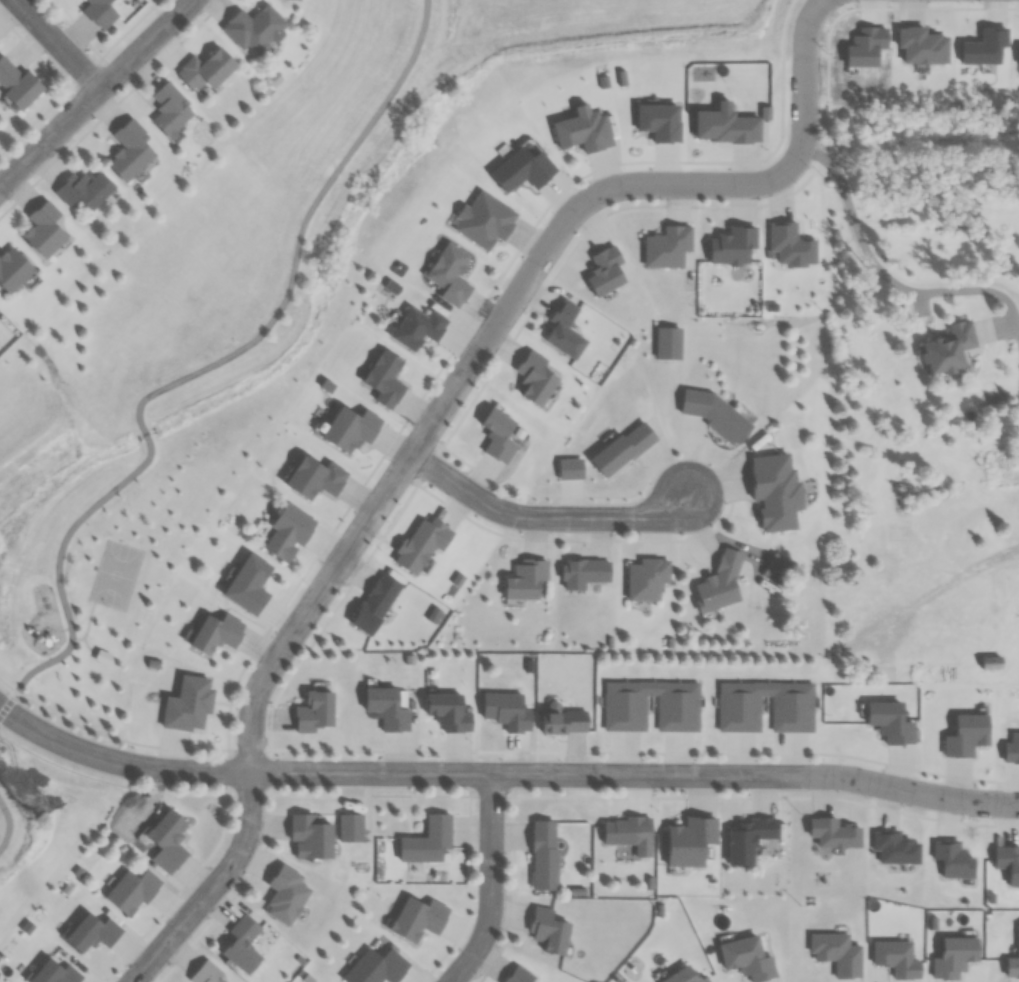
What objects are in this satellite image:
building: (99, 12)
building: (253, 28)
road: (57, 44)
building: (205, 69)
building: (17, 83)
road: (95, 92)
building: (169, 109)
building: (128, 150)
road: (685, 175)
building: (83, 188)
building: (42, 229)
building: (12, 268)
road: (885, 283)
building: (667, 342)
building: (948, 346)
road: (199, 370)
building: (384, 378)
building: (715, 413)
building: (349, 429)
building: (497, 435)
building: (622, 448)
building: (314, 477)
road: (543, 516)
building: (286, 532)
building: (775, 567)
park: (104, 570)
park: (116, 573)
building: (585, 573)
building: (525, 578)
building: (646, 578)
building: (719, 582)
building: (247, 583)
road: (923, 596)
building: (374, 603)
road: (84, 624)
road: (64, 629)
building: (215, 632)
road: (84, 648)
building: (101, 655)
road: (274, 659)
building: (990, 662)
road: (7, 685)
building: (188, 703)
building: (386, 708)
building: (506, 710)
building: (314, 711)
building: (447, 712)
building: (677, 712)
building: (739, 713)
building: (563, 721)
road: (127, 740)
road: (503, 775)
road: (8, 824)
building: (350, 826)
building: (626, 829)
building: (310, 836)
building: (748, 838)
building: (166, 839)
building: (427, 840)
building: (543, 854)
road: (491, 884)
building: (131, 890)
building: (285, 894)
building: (417, 917)
building: (548, 930)
building: (91, 932)
building: (241, 944)
building: (376, 966)
building: (54, 973)
building: (205, 973)
building: (518, 975)
building: (683, 976)

